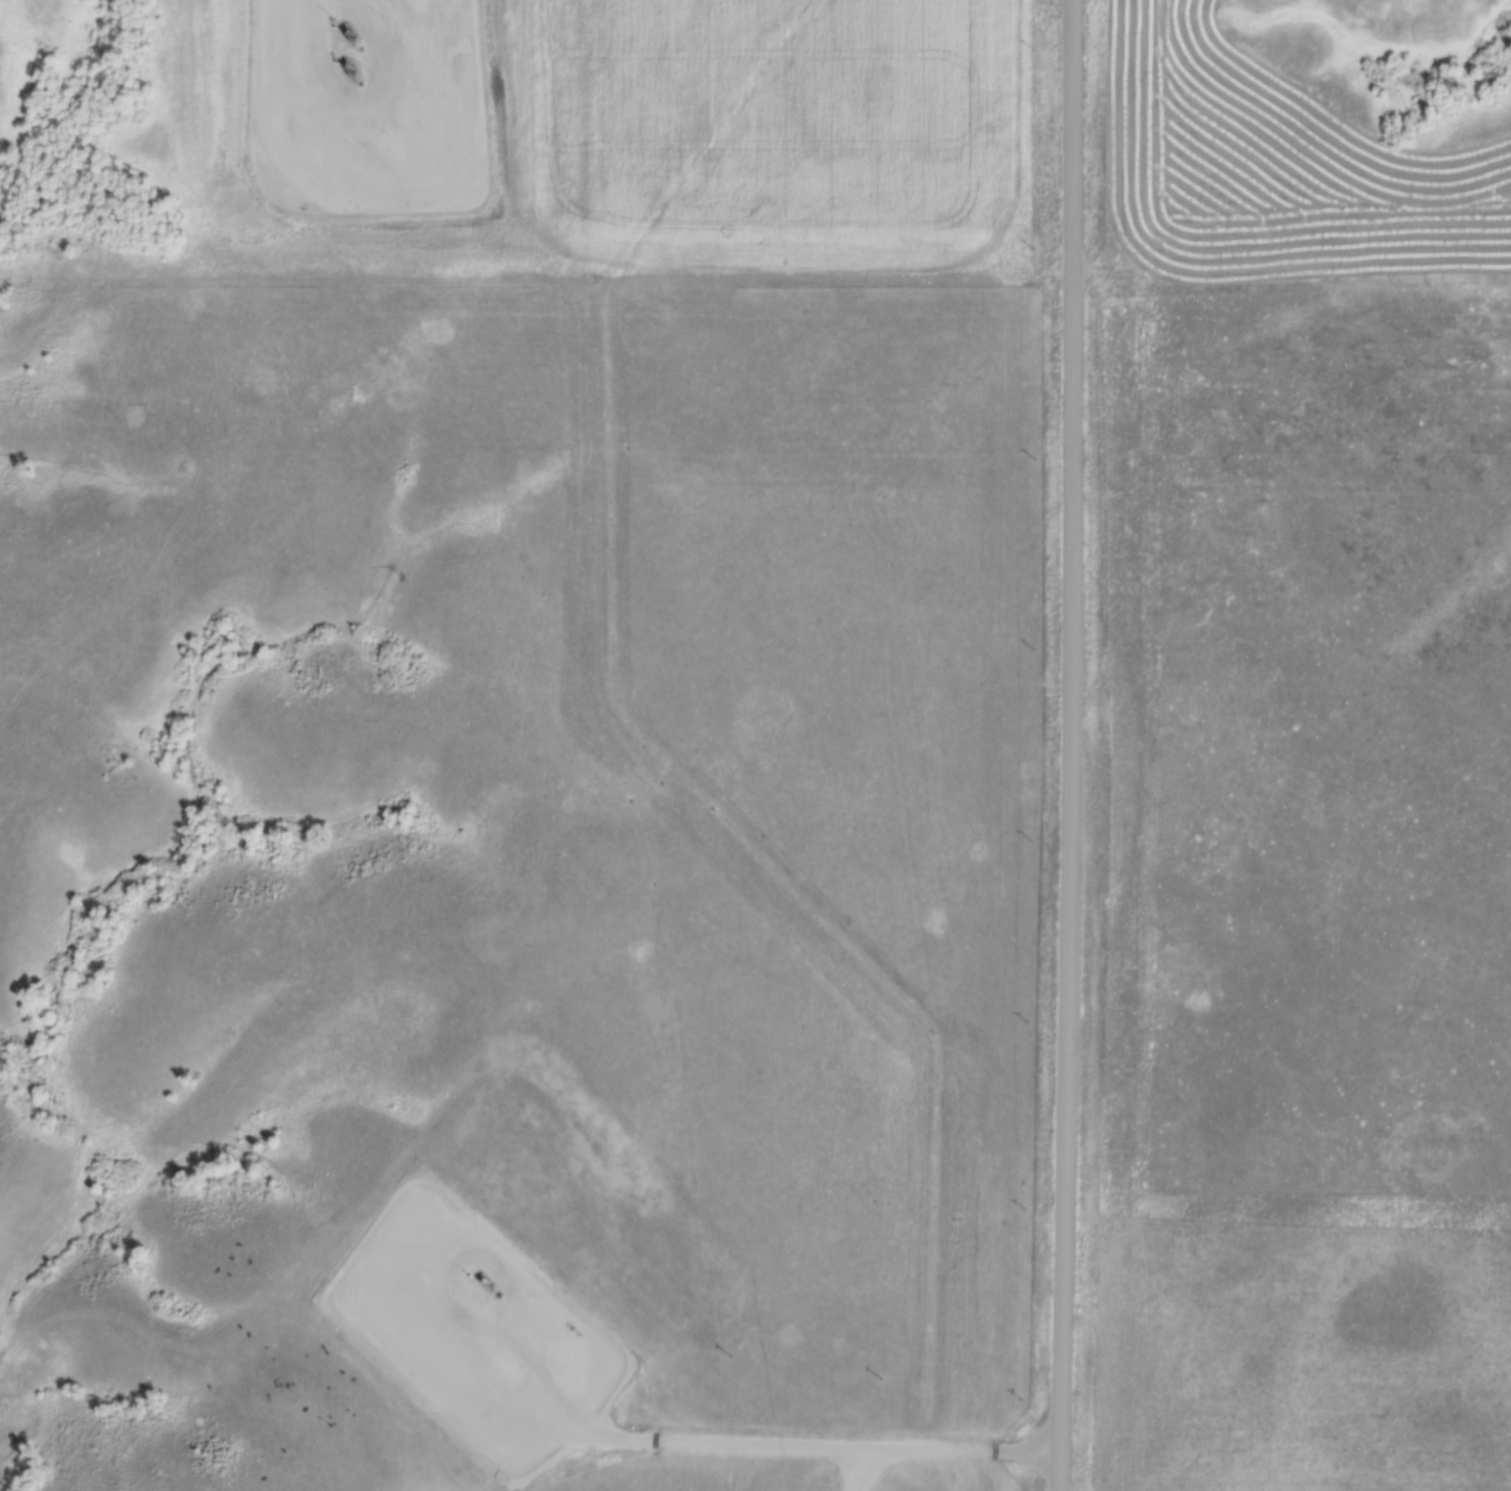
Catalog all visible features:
road: (1074, 745)

